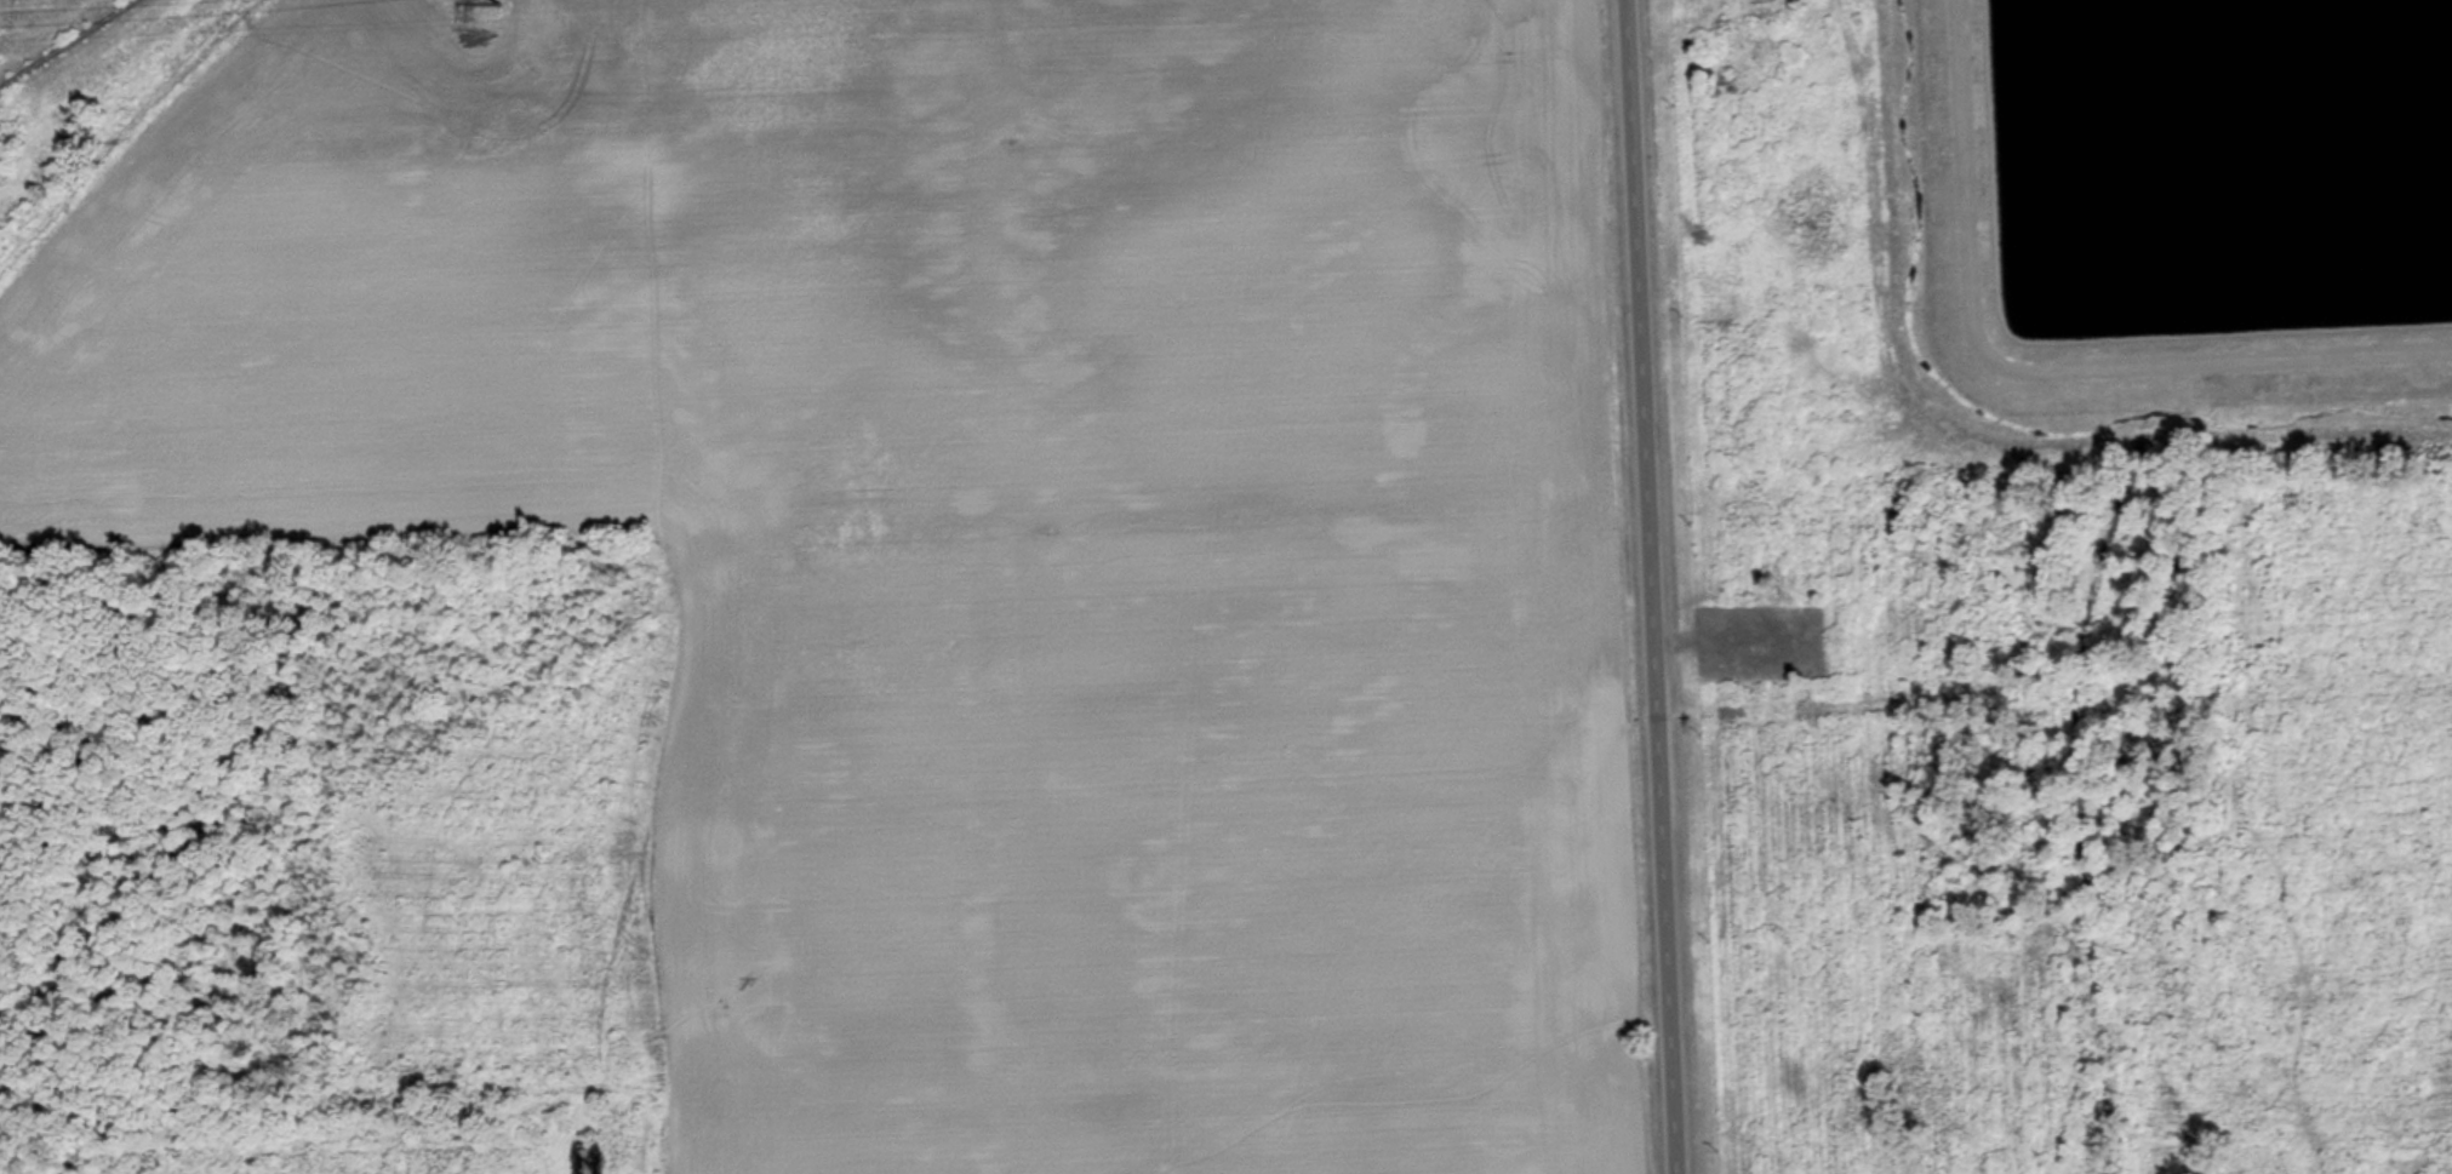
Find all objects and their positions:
power tower: (501, 6)
railway: (61, 39)
road: (1653, 586)

